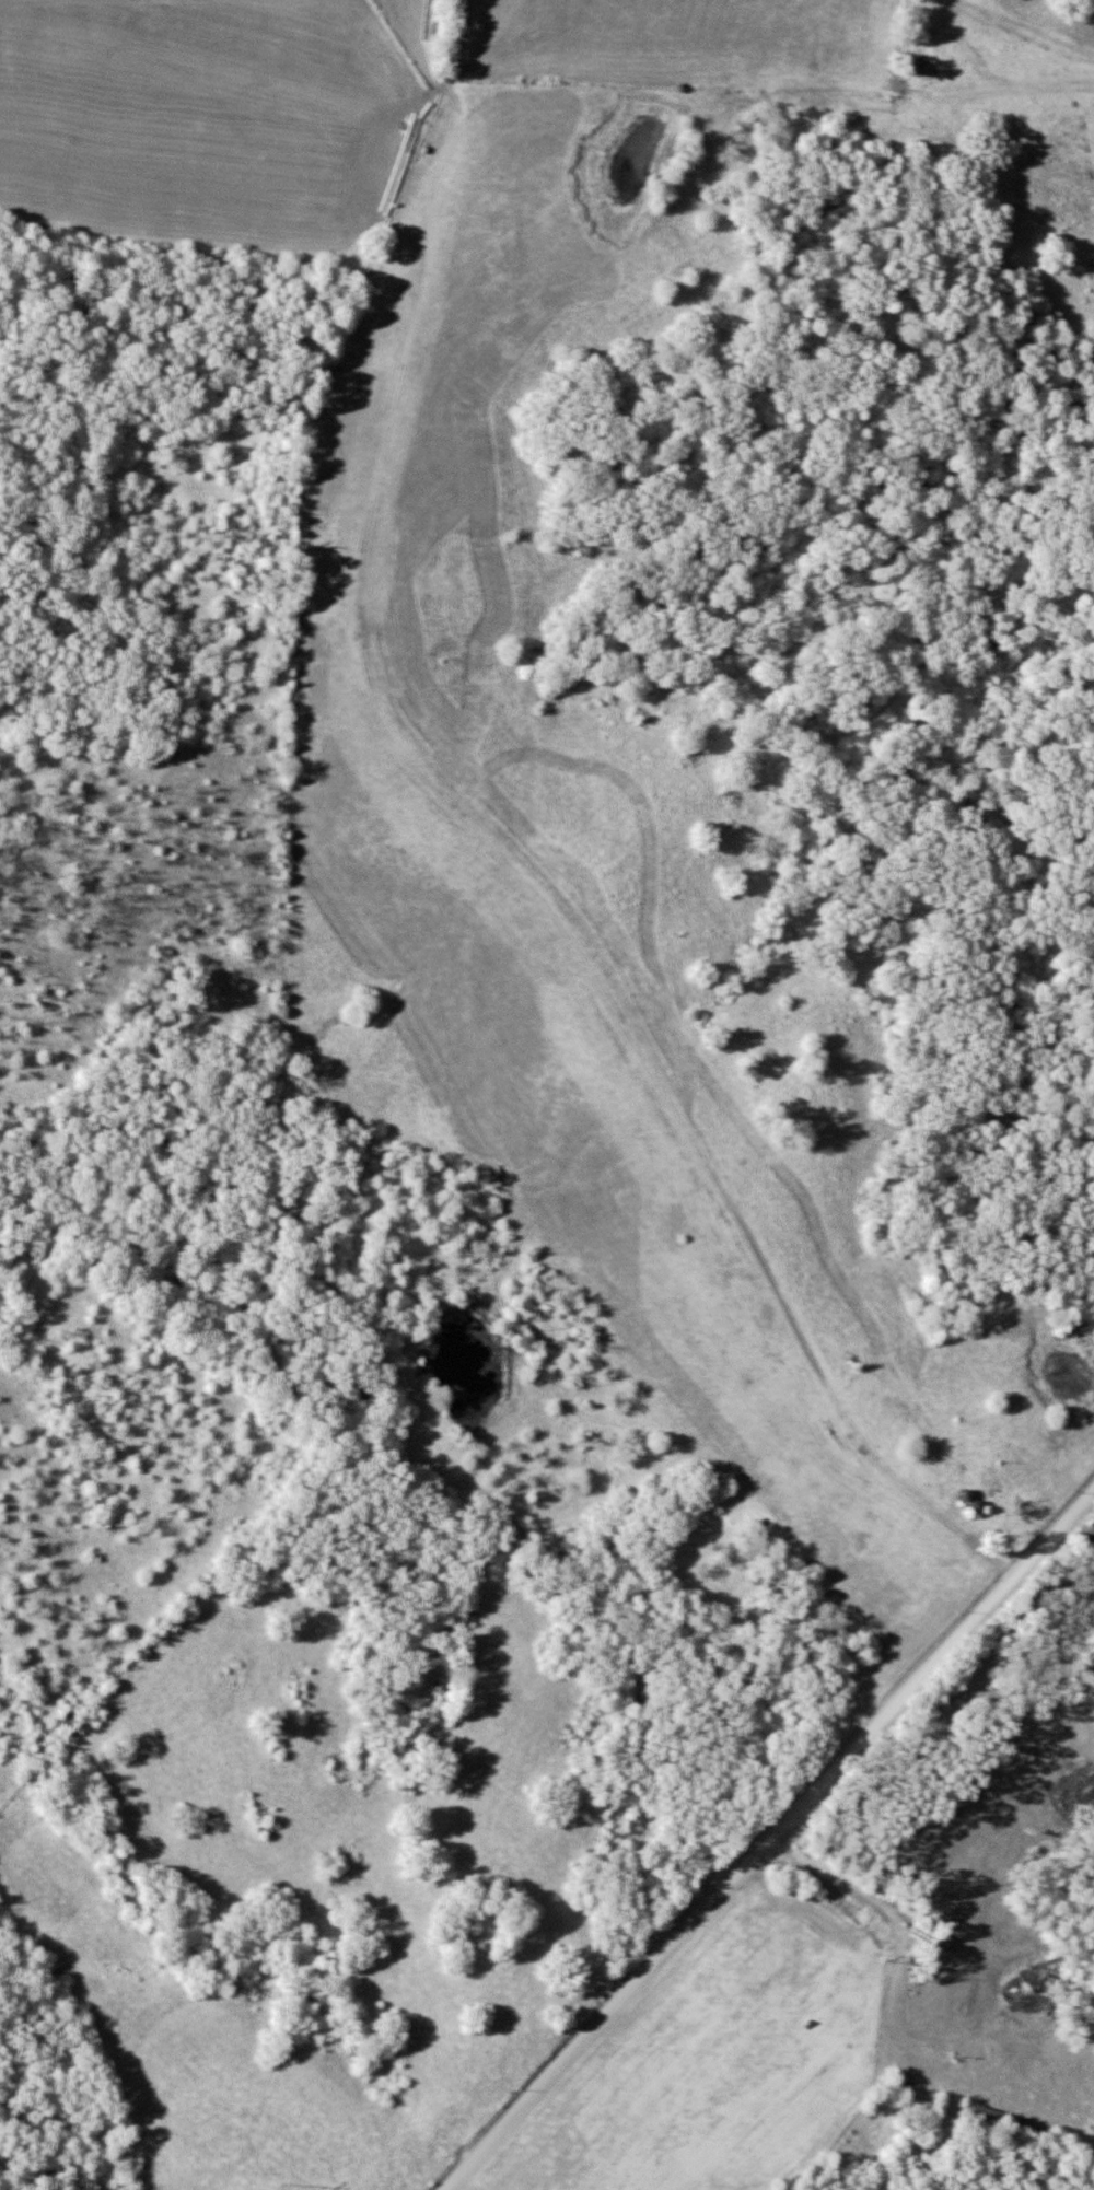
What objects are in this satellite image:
road: (768, 1837)
road: (899, 1926)
crop: (702, 2054)
building: (1013, 2123)

